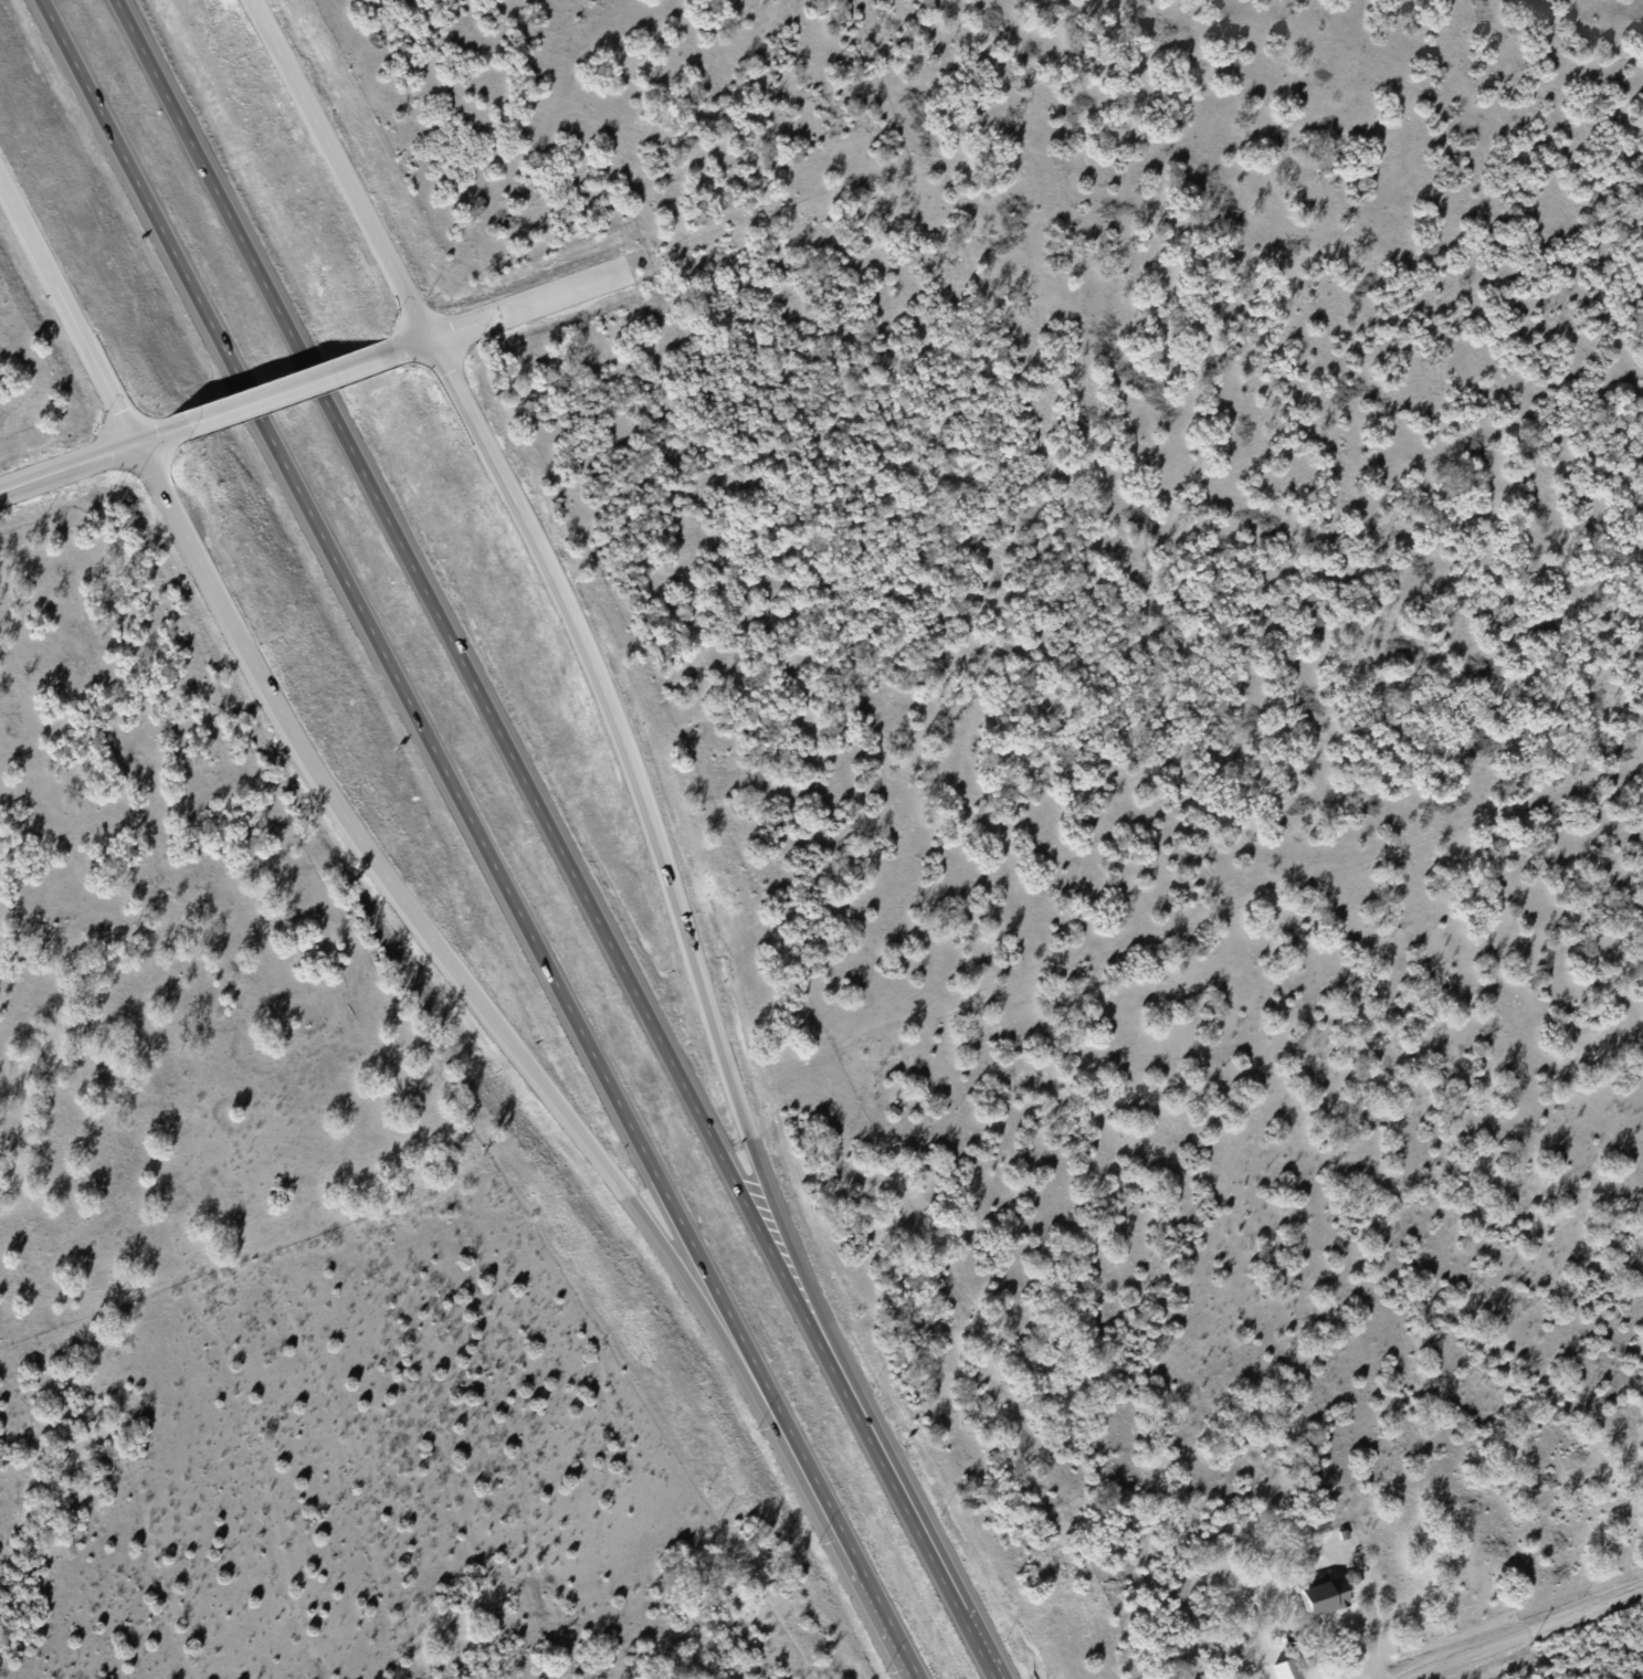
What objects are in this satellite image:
road: (339, 168)
road: (69, 311)
road: (401, 347)
road: (280, 391)
road: (92, 458)
road: (470, 676)
road: (400, 685)
road: (652, 834)
road: (420, 925)
road: (909, 1516)
road: (840, 1524)
building: (1318, 1594)
road: (1524, 1635)
building: (1284, 1669)

